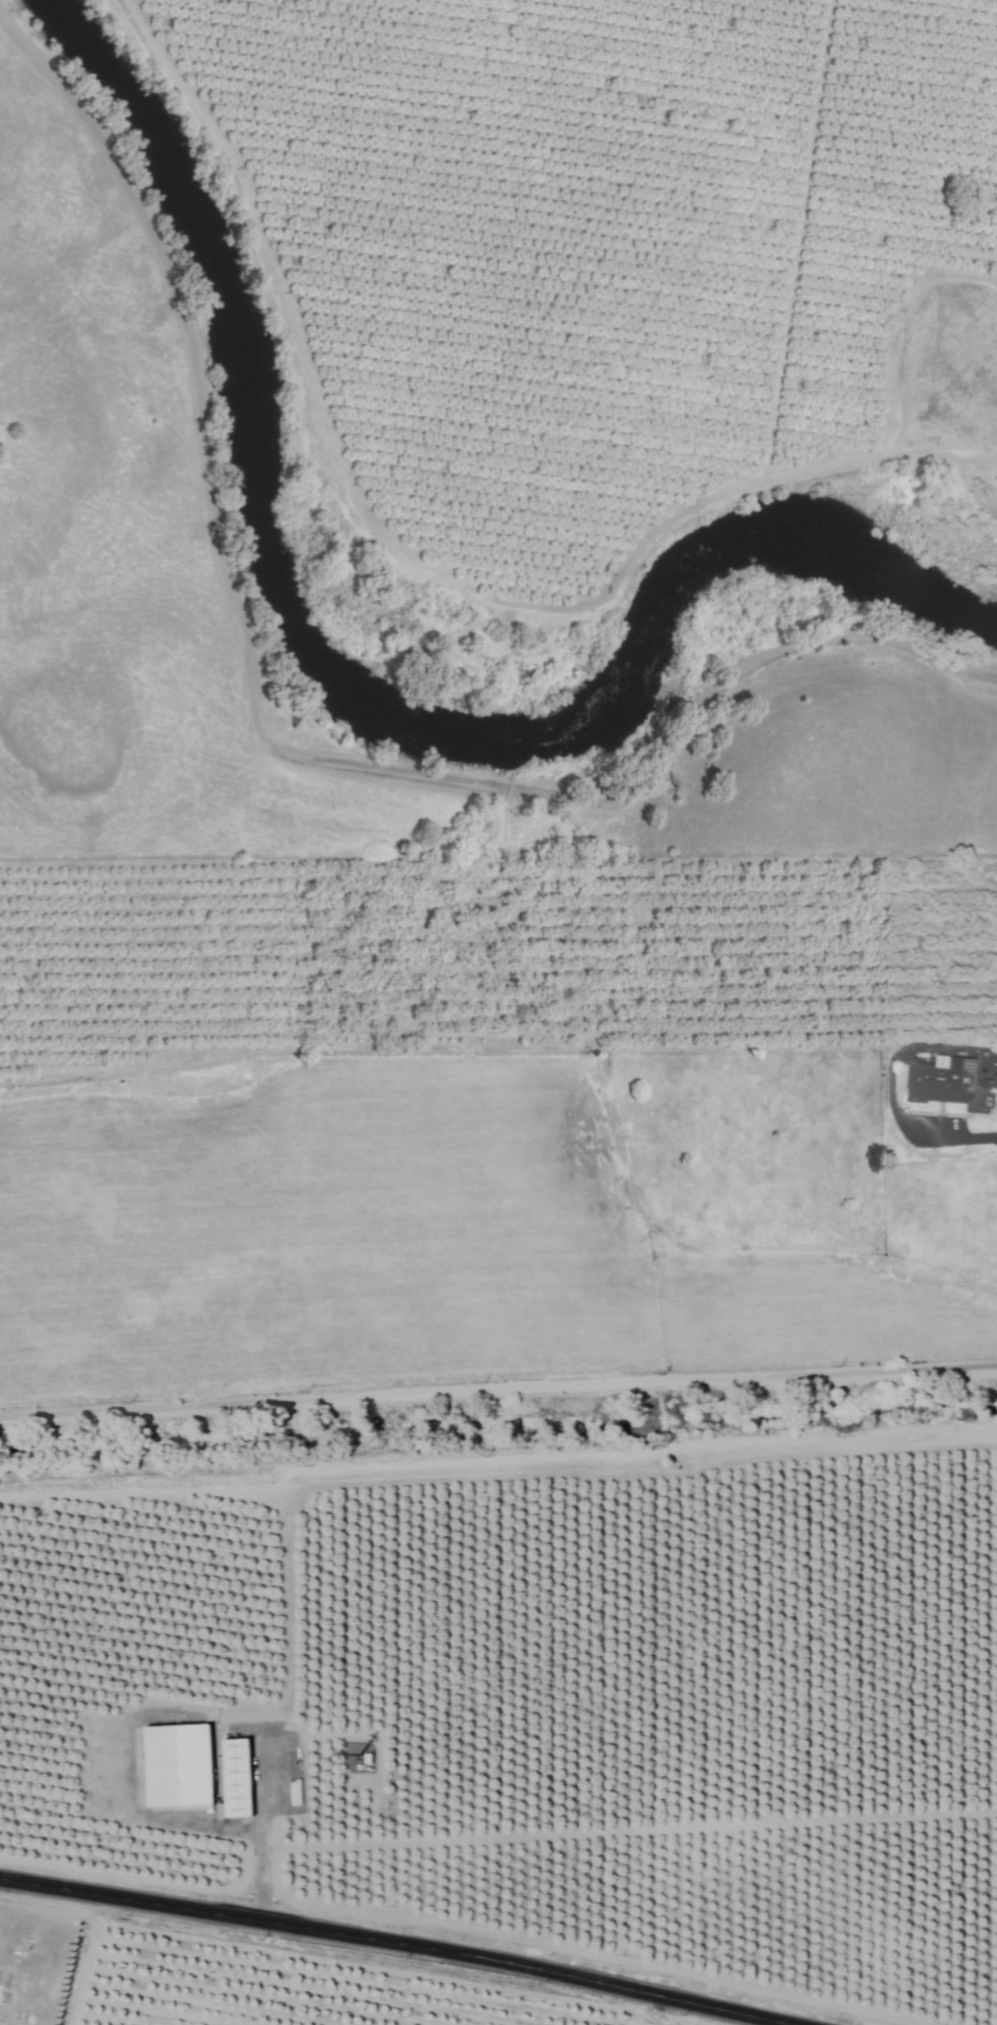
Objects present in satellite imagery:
road: (993, 1075)
building: (945, 1082)
road: (498, 1391)
crop: (499, 1445)
road: (181, 1707)
building: (182, 1766)
building: (241, 1778)
road: (400, 1946)
park: (36, 1966)

